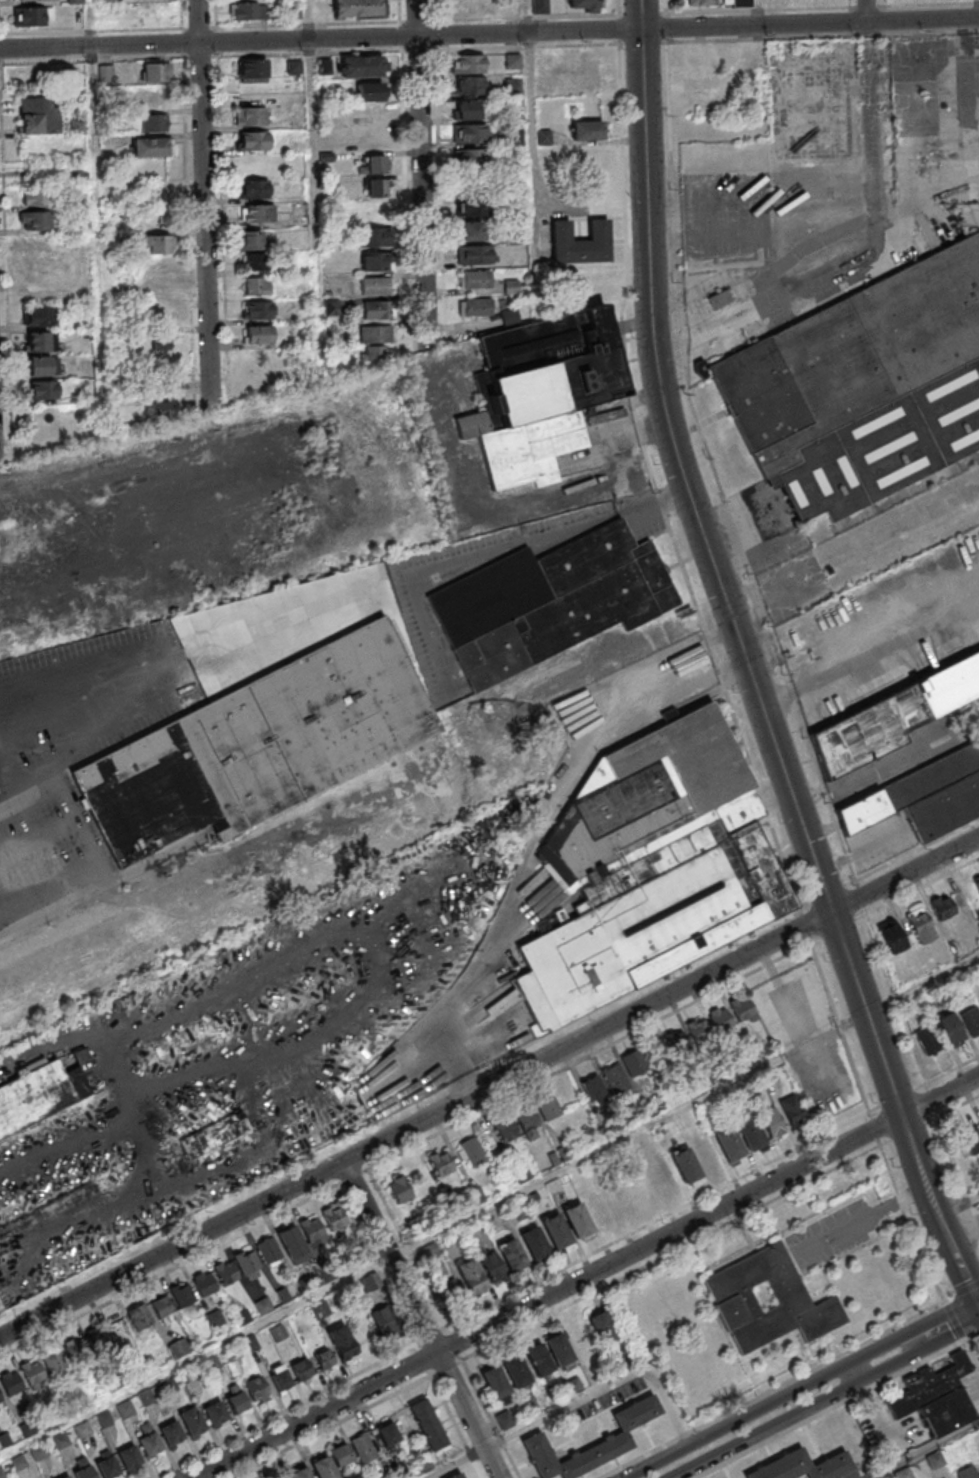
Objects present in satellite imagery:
building: (33, 0)
building: (108, 0)
building: (699, 2)
building: (737, 3)
building: (584, 5)
building: (470, 6)
building: (540, 7)
building: (357, 8)
road: (977, 9)
building: (249, 10)
building: (31, 16)
road: (489, 34)
building: (700, 55)
building: (468, 63)
building: (363, 65)
road: (763, 66)
building: (252, 70)
building: (155, 71)
building: (592, 71)
building: (105, 73)
building: (702, 80)
building: (470, 86)
building: (370, 91)
building: (148, 97)
building: (467, 110)
building: (375, 112)
road: (869, 112)
building: (252, 113)
building: (39, 115)
building: (154, 122)
building: (78, 126)
building: (588, 130)
building: (472, 134)
building: (544, 137)
building: (371, 139)
building: (254, 140)
building: (151, 146)
road: (535, 157)
building: (469, 158)
road: (425, 171)
road: (317, 185)
building: (376, 188)
building: (255, 189)
building: (36, 196)
road: (209, 202)
building: (473, 207)
road: (98, 211)
building: (259, 213)
building: (35, 220)
building: (471, 230)
building: (375, 236)
building: (251, 240)
building: (581, 242)
building: (156, 243)
building: (35, 244)
building: (476, 254)
building: (377, 261)
building: (254, 262)
building: (78, 268)
building: (37, 272)
building: (476, 279)
building: (375, 285)
building: (257, 286)
building: (719, 299)
building: (476, 307)
building: (377, 309)
building: (258, 310)
building: (39, 316)
building: (375, 333)
building: (259, 334)
building: (39, 341)
building: (161, 341)
building: (373, 353)
building: (39, 366)
building: (862, 388)
building: (43, 389)
building: (541, 391)
building: (160, 411)
building: (549, 601)
road: (767, 624)
railway: (792, 634)
road: (746, 662)
road: (172, 669)
building: (888, 717)
building: (256, 748)
road: (6, 765)
building: (918, 797)
road: (97, 858)
building: (651, 870)
building: (977, 883)
road: (828, 894)
building: (942, 906)
building: (920, 925)
building: (892, 936)
road: (922, 985)
building: (742, 1009)
road: (670, 1013)
building: (721, 1019)
building: (971, 1020)
building: (950, 1029)
building: (698, 1030)
road: (453, 1034)
building: (927, 1040)
building: (675, 1043)
building: (634, 1064)
road: (946, 1072)
building: (616, 1079)
building: (593, 1089)
road: (489, 1092)
building: (40, 1096)
building: (549, 1109)
building: (793, 1111)
building: (978, 1121)
building: (773, 1122)
building: (517, 1126)
building: (750, 1133)
building: (213, 1136)
building: (971, 1139)
building: (729, 1144)
building: (473, 1153)
building: (441, 1163)
building: (686, 1168)
road: (352, 1176)
building: (109, 1181)
building: (399, 1190)
building: (623, 1202)
road: (957, 1206)
road: (676, 1208)
building: (600, 1210)
road: (872, 1214)
building: (334, 1219)
building: (578, 1221)
building: (313, 1233)
building: (556, 1233)
building: (534, 1245)
building: (281, 1247)
building: (512, 1256)
road: (387, 1261)
building: (248, 1266)
road: (376, 1266)
road: (170, 1269)
building: (480, 1273)
road: (586, 1276)
building: (215, 1280)
road: (961, 1290)
building: (453, 1291)
building: (182, 1297)
road: (978, 1298)
traffic signals: (977, 1299)
building: (734, 1301)
road: (978, 1301)
building: (163, 1310)
building: (320, 1310)
road: (2, 1315)
building: (139, 1318)
road: (955, 1319)
building: (383, 1321)
road: (421, 1322)
road: (444, 1323)
building: (601, 1328)
road: (913, 1331)
building: (278, 1333)
road: (429, 1334)
road: (972, 1336)
building: (581, 1337)
building: (97, 1338)
building: (342, 1343)
building: (179, 1349)
building: (559, 1349)
building: (76, 1351)
road: (919, 1352)
road: (423, 1358)
building: (323, 1359)
building: (539, 1360)
building: (301, 1370)
building: (515, 1372)
road: (855, 1373)
building: (28, 1376)
building: (280, 1378)
building: (495, 1383)
road: (605, 1388)
building: (257, 1390)
building: (146, 1398)
building: (936, 1398)
building: (236, 1402)
building: (529, 1402)
road: (286, 1408)
building: (125, 1410)
building: (215, 1415)
building: (504, 1420)
road: (738, 1421)
building: (192, 1423)
road: (455, 1423)
building: (427, 1424)
road: (329, 1426)
road: (767, 1430)
building: (172, 1434)
building: (388, 1434)
building: (536, 1436)
building: (148, 1439)
building: (60, 1441)
building: (363, 1448)
road: (926, 1451)
building: (40, 1452)
building: (129, 1458)
building: (334, 1461)
road: (456, 1463)
building: (17, 1464)
building: (423, 1464)
building: (106, 1465)
building: (803, 1466)
building: (83, 1468)
building: (300, 1473)
building: (967, 1473)
building: (1, 1474)
building: (457, 1475)
building: (66, 1477)
building: (282, 1477)

